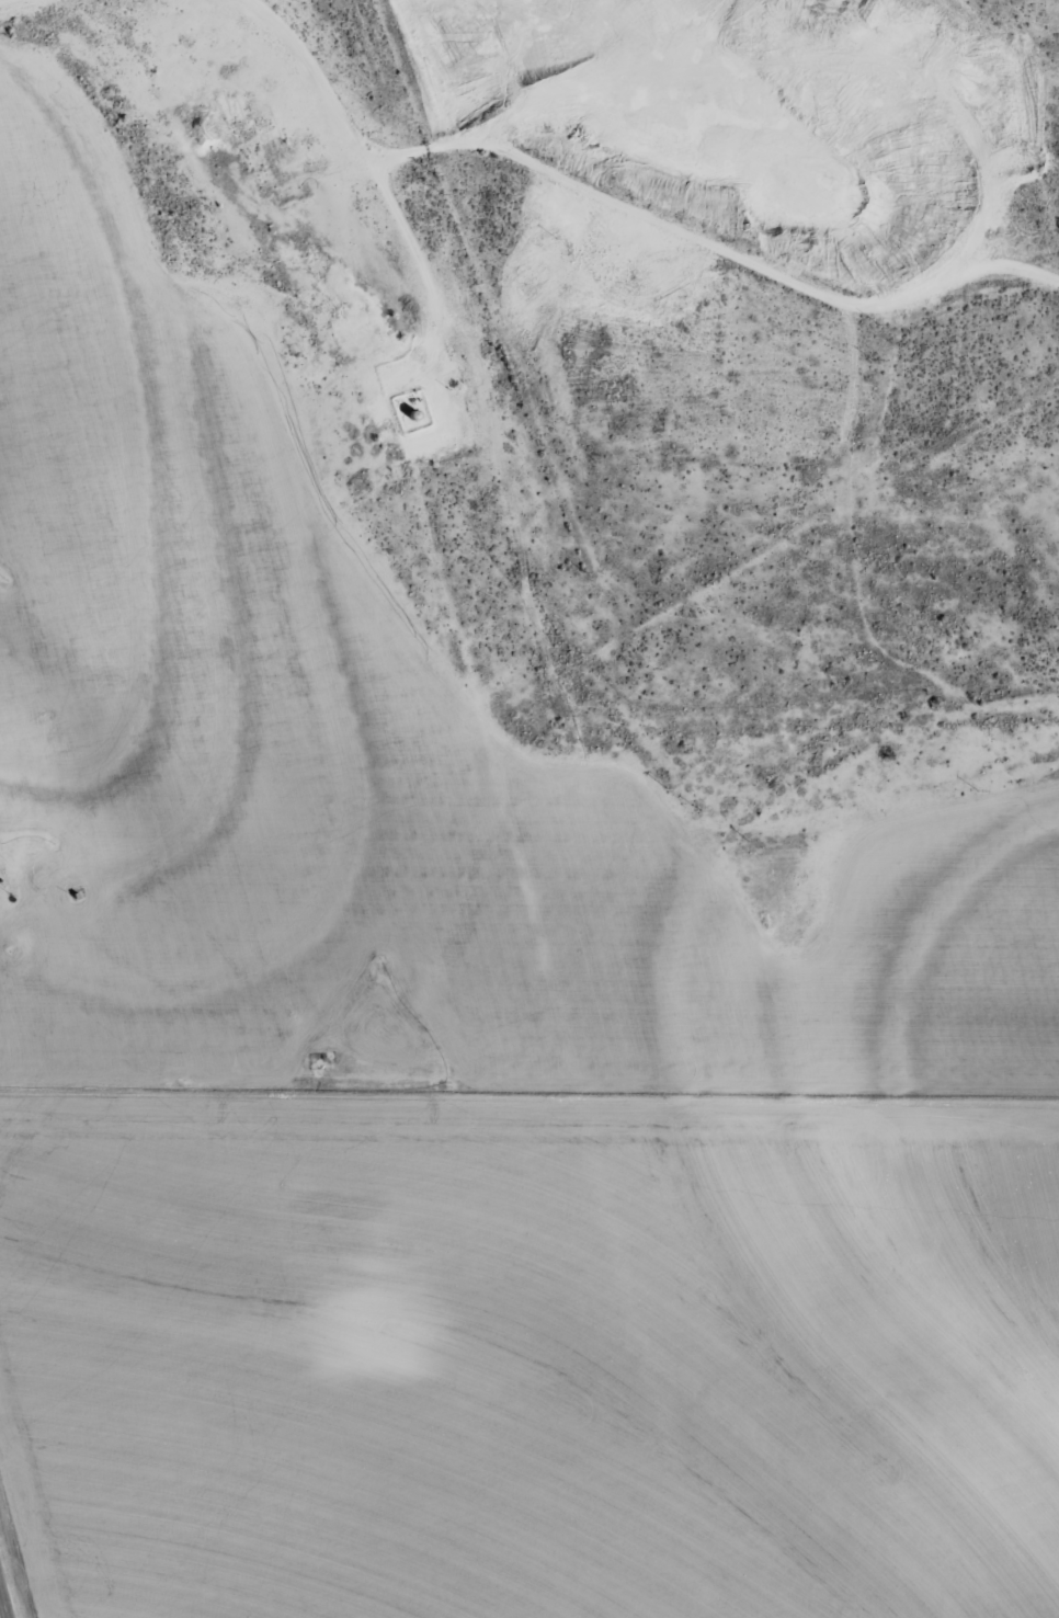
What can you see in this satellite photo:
road: (3, 1603)

